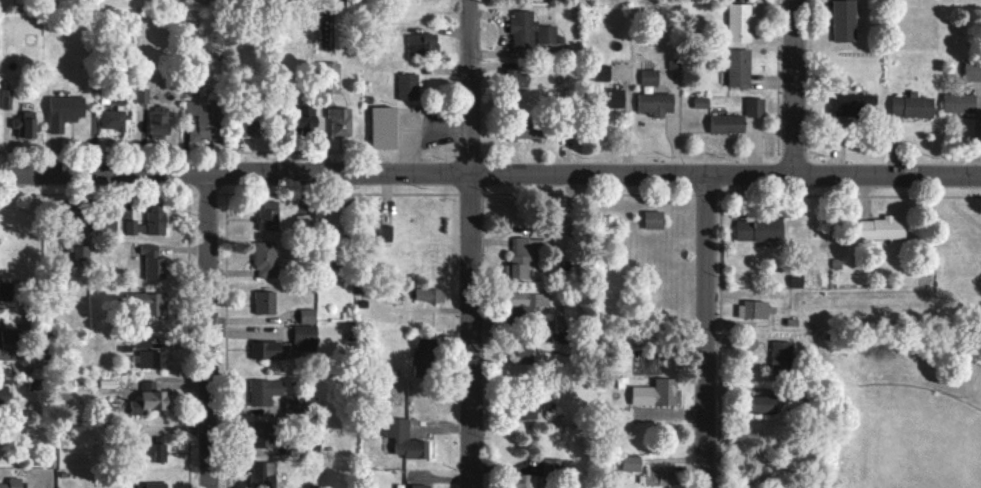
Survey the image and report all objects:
building: (845, 21)
building: (740, 22)
building: (534, 33)
building: (423, 44)
building: (740, 67)
building: (973, 70)
building: (651, 77)
building: (517, 79)
building: (409, 86)
road: (791, 88)
building: (142, 95)
building: (617, 98)
building: (6, 99)
building: (702, 102)
building: (657, 103)
building: (960, 103)
building: (851, 105)
building: (913, 106)
building: (756, 107)
building: (65, 111)
building: (113, 119)
building: (307, 120)
building: (161, 121)
building: (204, 121)
building: (341, 121)
building: (730, 123)
building: (385, 127)
building: (26, 128)
building: (253, 128)
building: (531, 128)
road: (490, 174)
building: (269, 214)
building: (157, 219)
building: (655, 219)
building: (135, 227)
building: (760, 228)
building: (884, 228)
road: (468, 243)
building: (82, 256)
building: (524, 256)
building: (266, 259)
building: (154, 262)
building: (6, 291)
building: (430, 294)
building: (266, 302)
building: (528, 303)
building: (157, 304)
building: (755, 310)
building: (308, 316)
building: (557, 322)
road: (204, 331)
road: (703, 333)
building: (306, 338)
building: (10, 344)
building: (271, 350)
building: (151, 355)
building: (783, 357)
building: (425, 358)
building: (148, 385)
building: (265, 391)
building: (5, 392)
building: (656, 393)
building: (151, 402)
building: (766, 404)
building: (529, 413)
building: (264, 434)
building: (407, 440)
building: (158, 453)
building: (633, 463)
building: (265, 474)
building: (659, 476)
building: (528, 481)
building: (13, 483)
building: (154, 485)
building: (421, 486)

